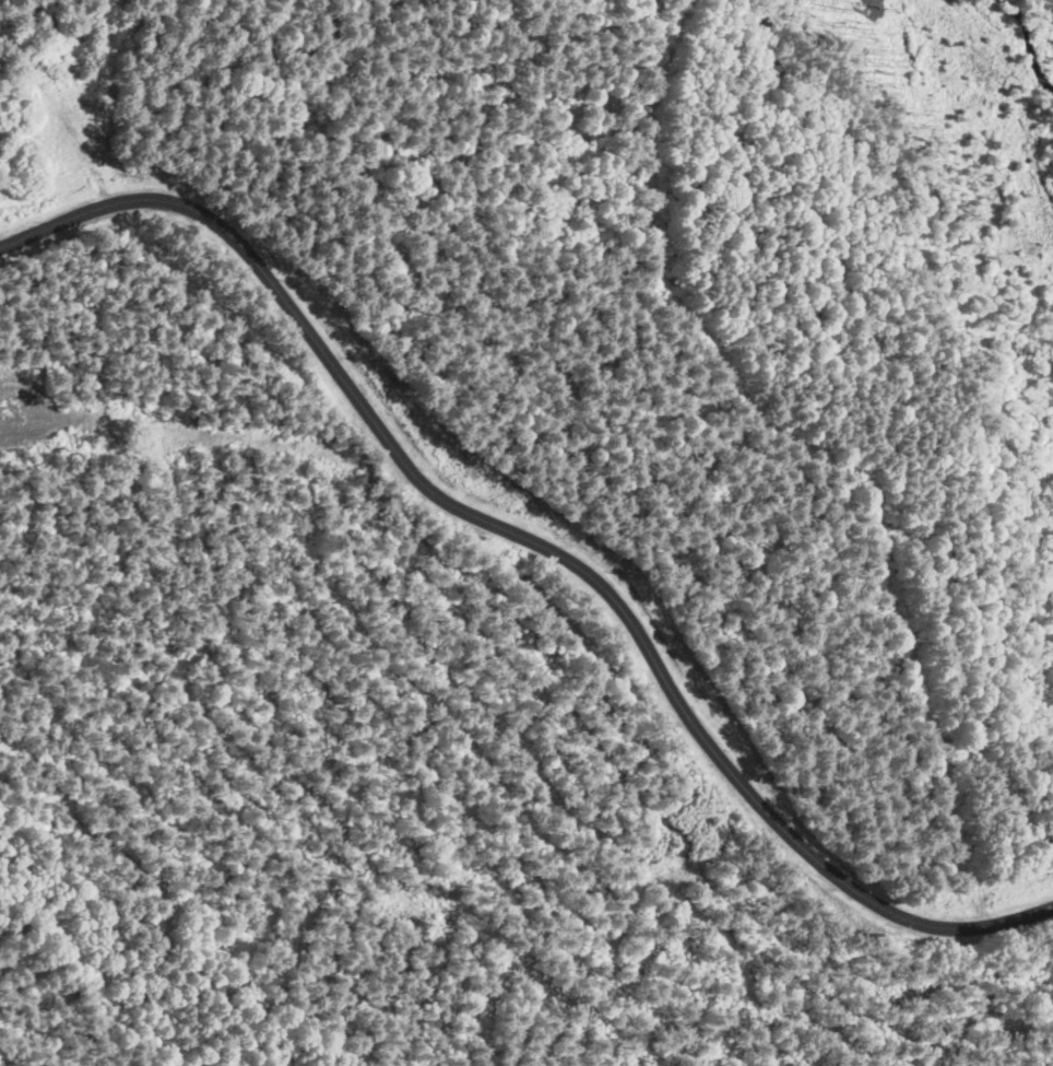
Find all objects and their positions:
road: (532, 540)

